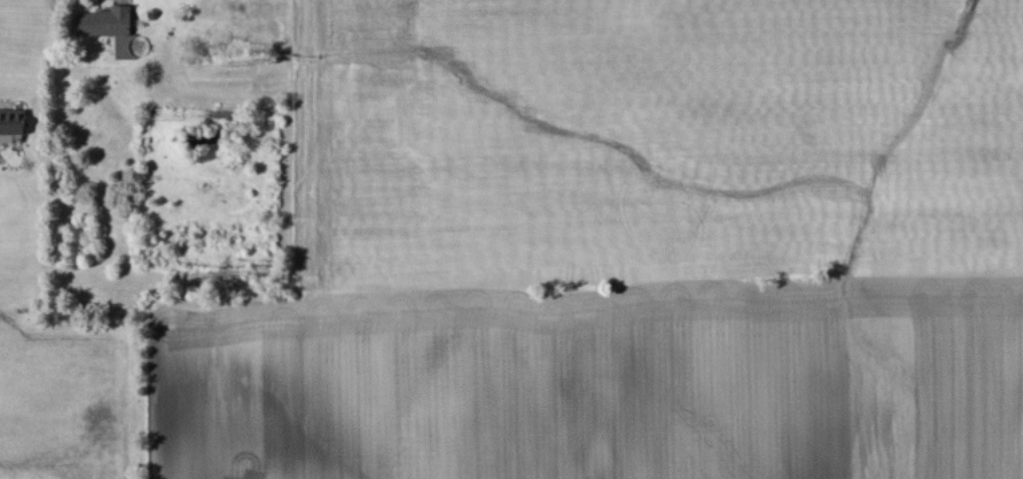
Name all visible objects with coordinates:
building: (104, 21)
building: (11, 123)

